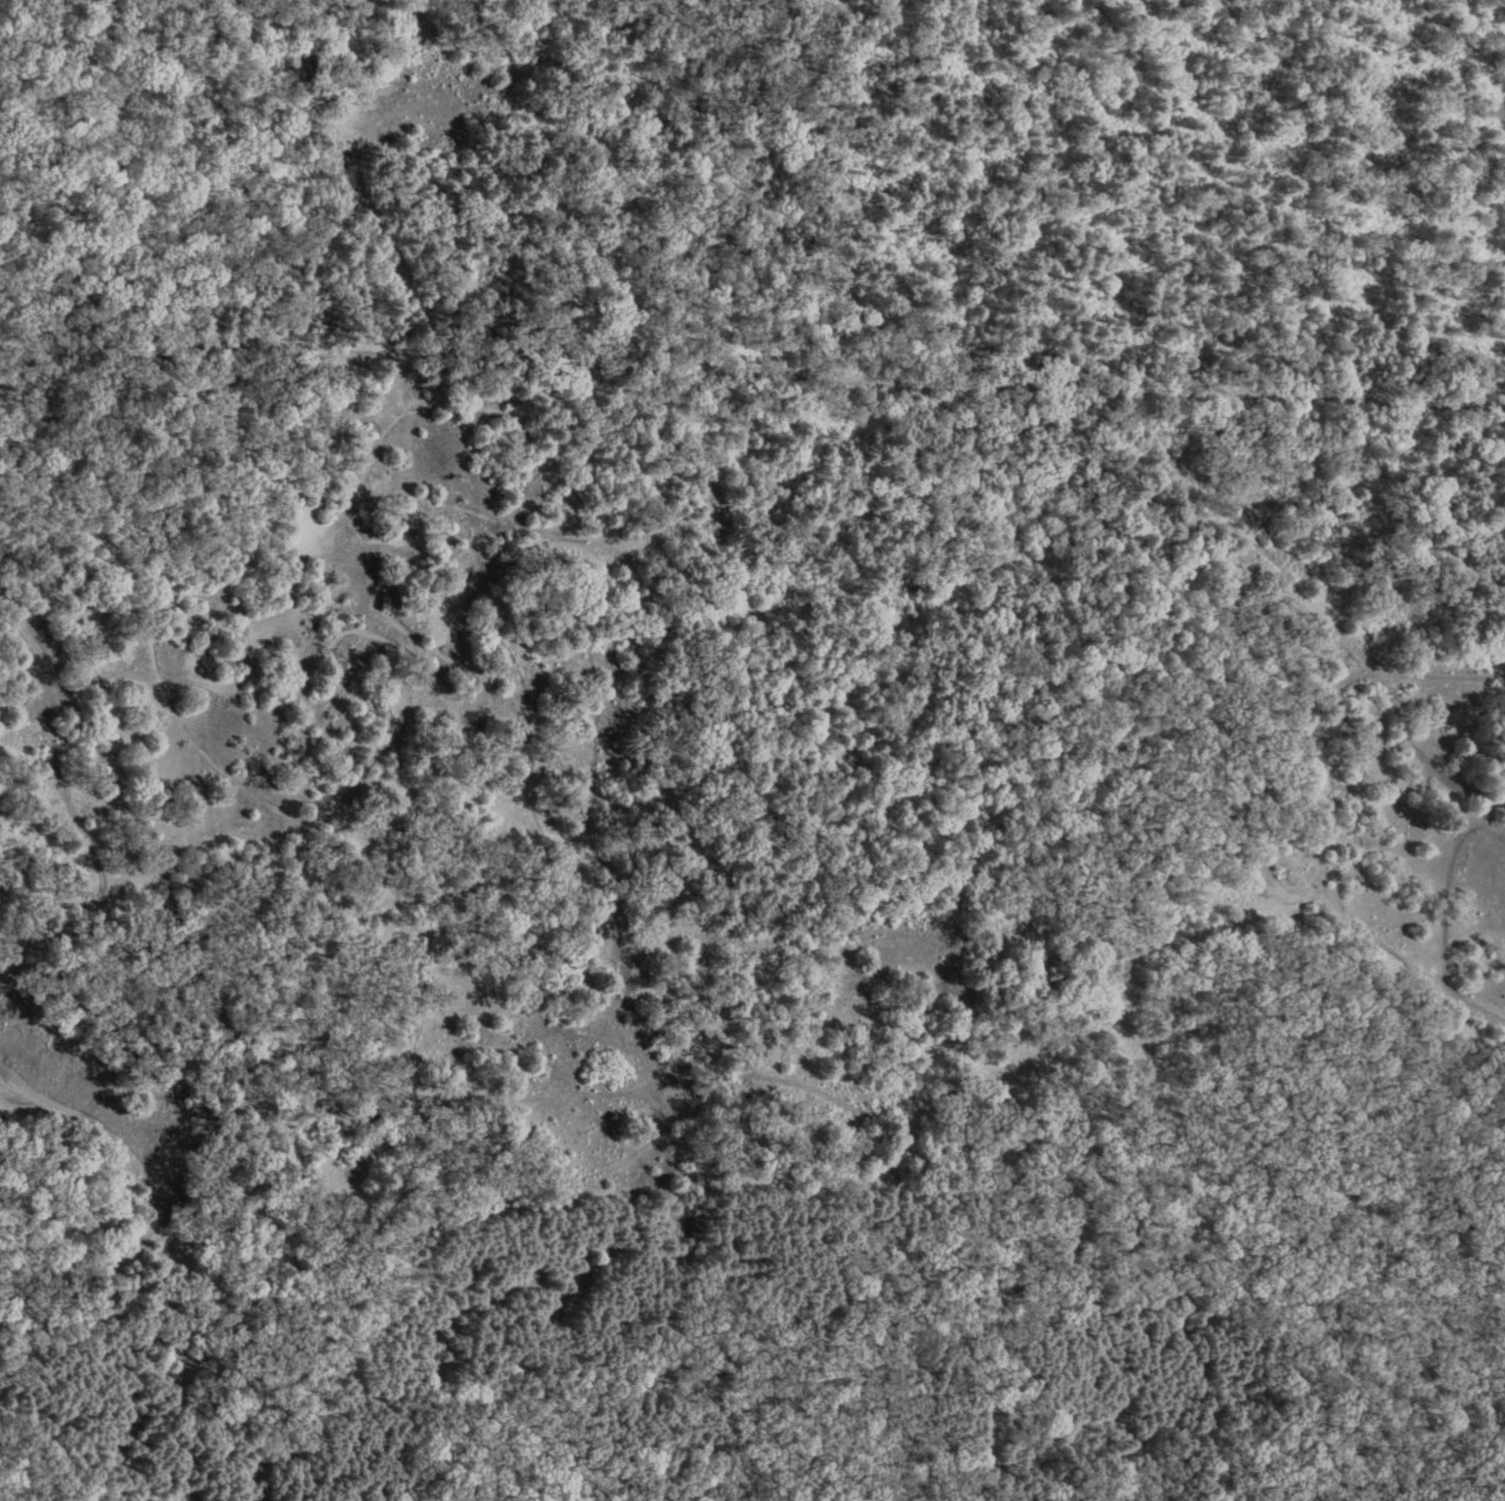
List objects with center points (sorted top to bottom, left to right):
road: (751, 347)
road: (216, 968)

